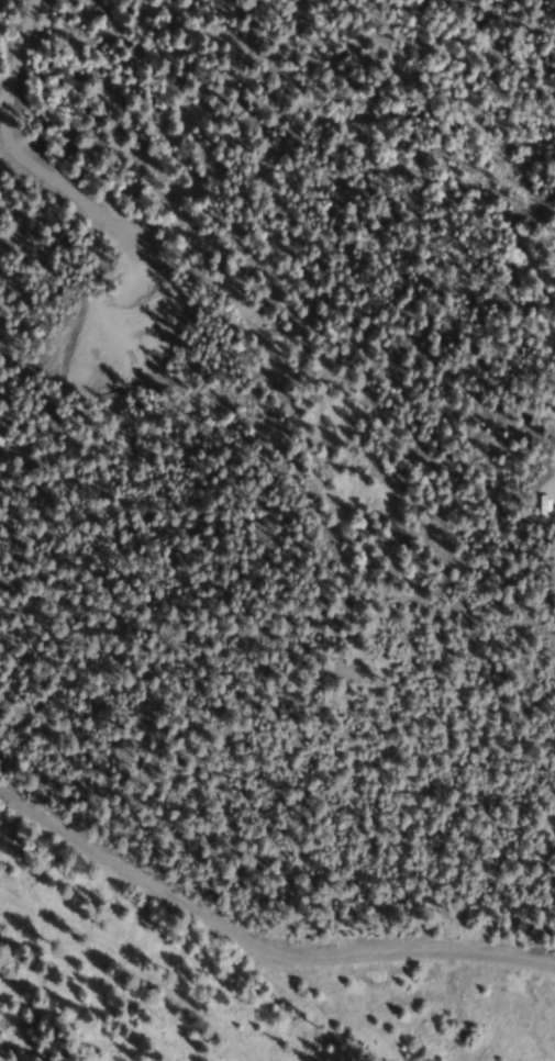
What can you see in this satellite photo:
road: (259, 941)

